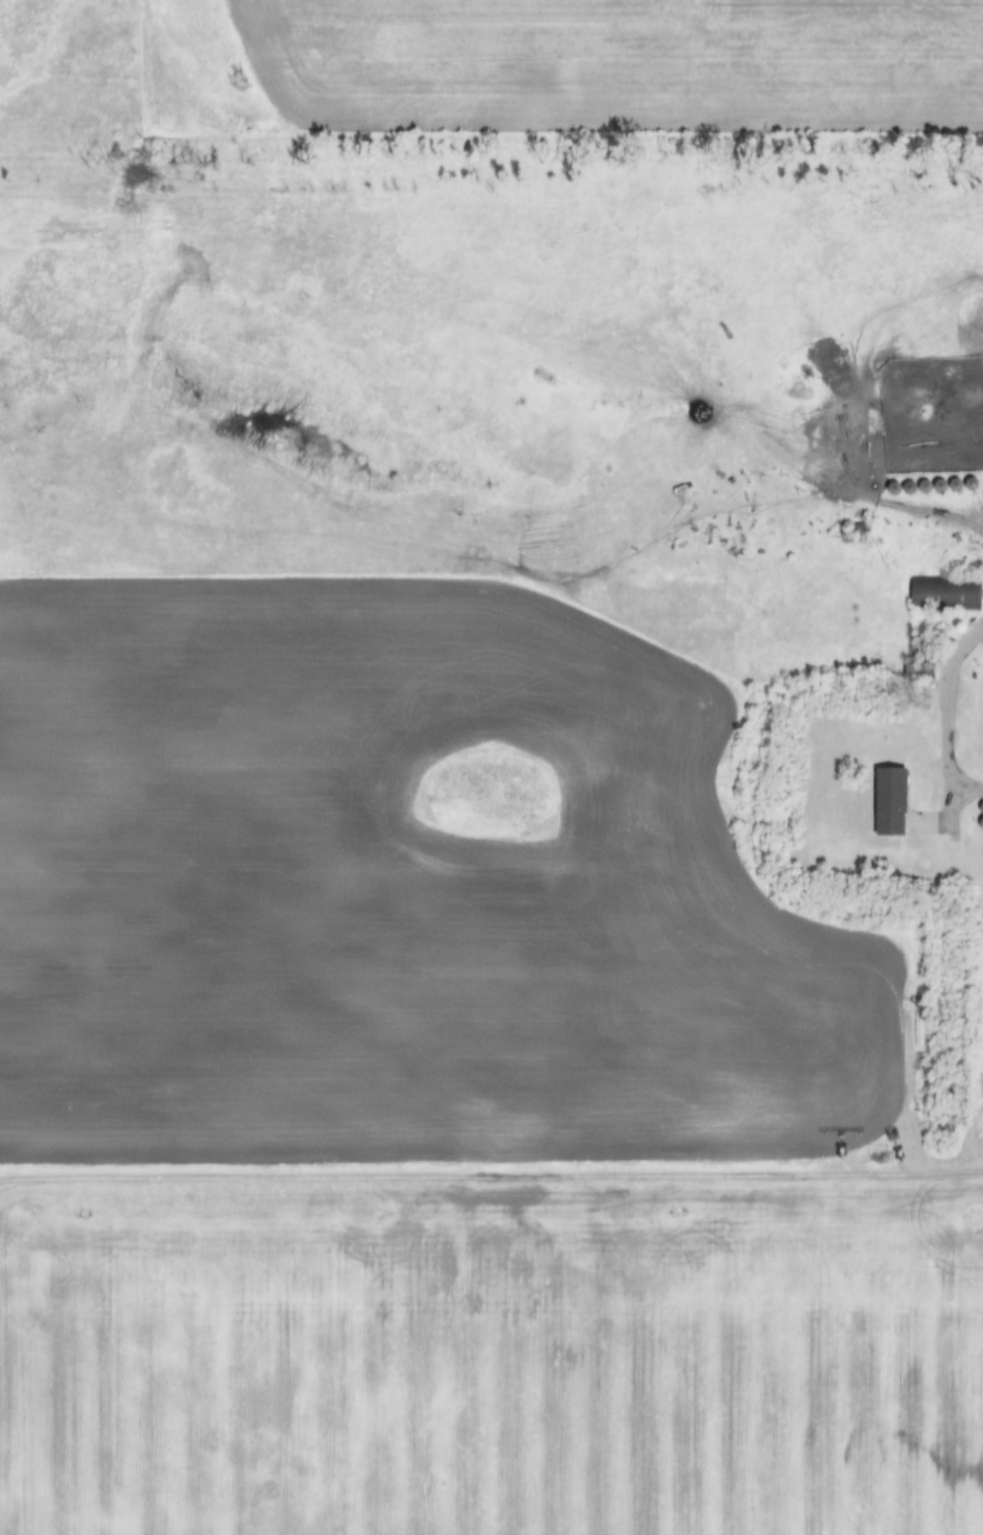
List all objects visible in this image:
road: (957, 696)
building: (895, 802)
road: (491, 1173)

